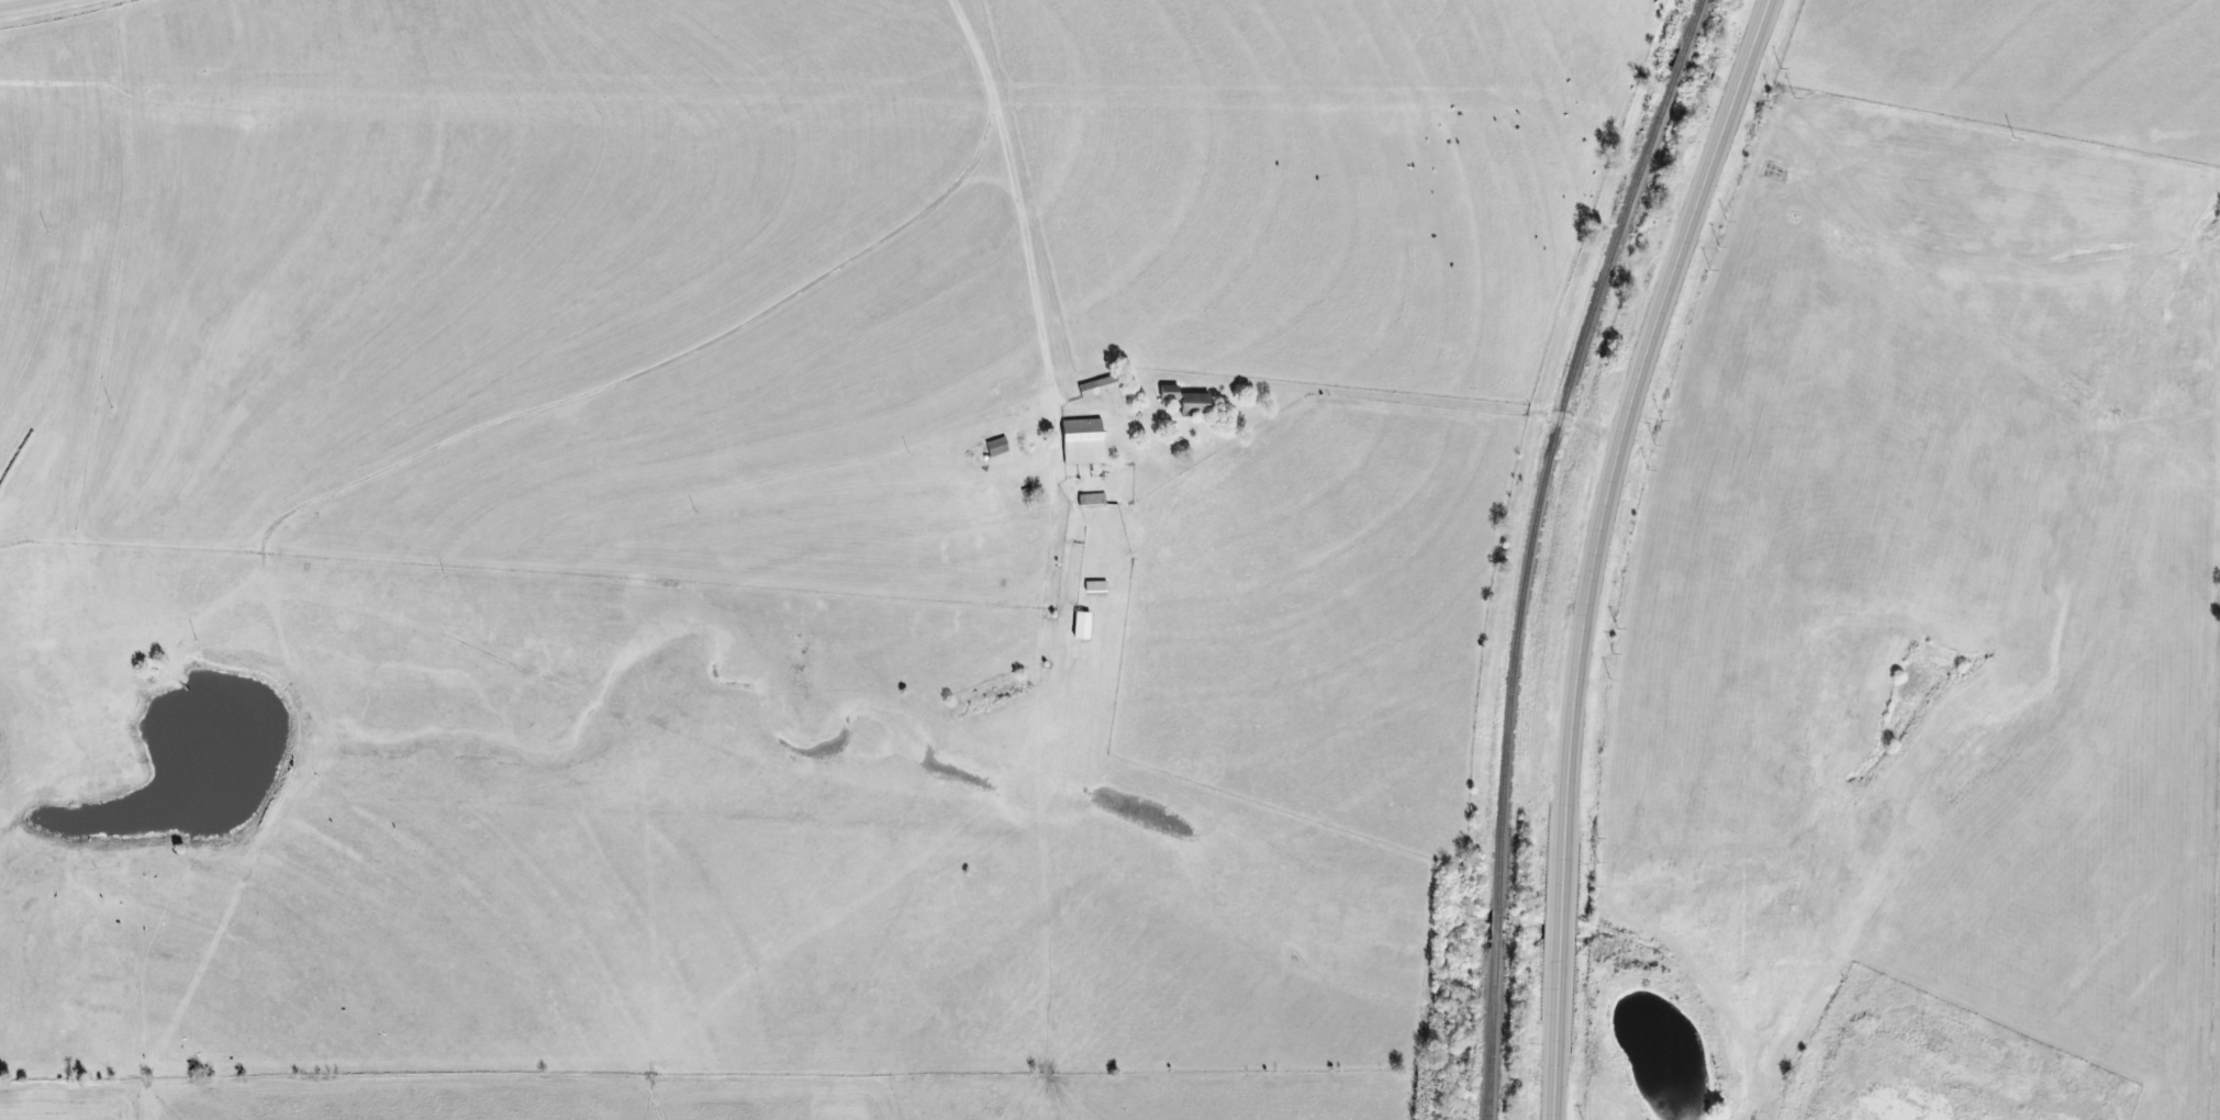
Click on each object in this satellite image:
road: (23, 3)
building: (1096, 387)
building: (1192, 401)
building: (1080, 441)
road: (1597, 546)
railway: (1528, 548)
building: (1079, 625)

